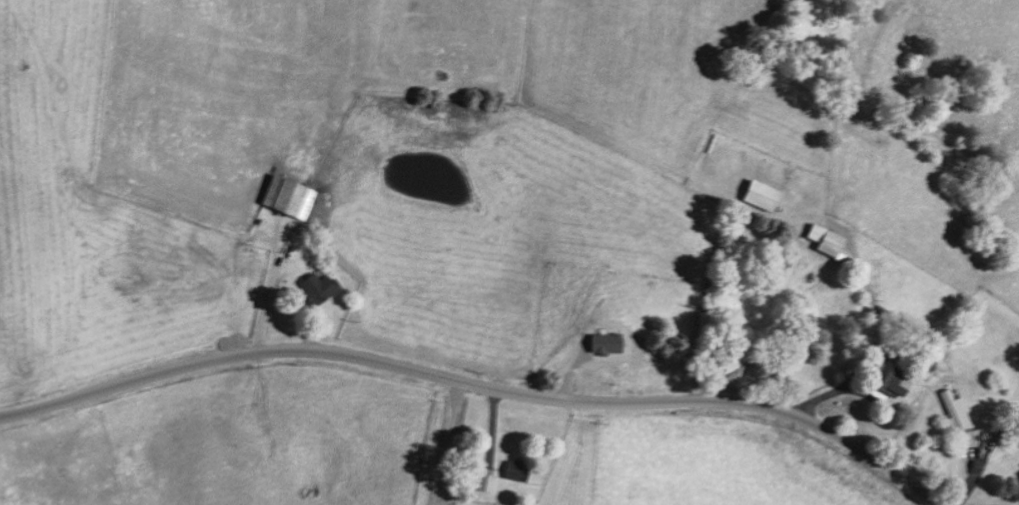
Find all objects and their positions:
building: (758, 194)
building: (287, 195)
building: (824, 240)
building: (316, 286)
building: (886, 377)
road: (477, 386)
building: (952, 411)
building: (971, 436)
building: (514, 470)
building: (484, 481)

